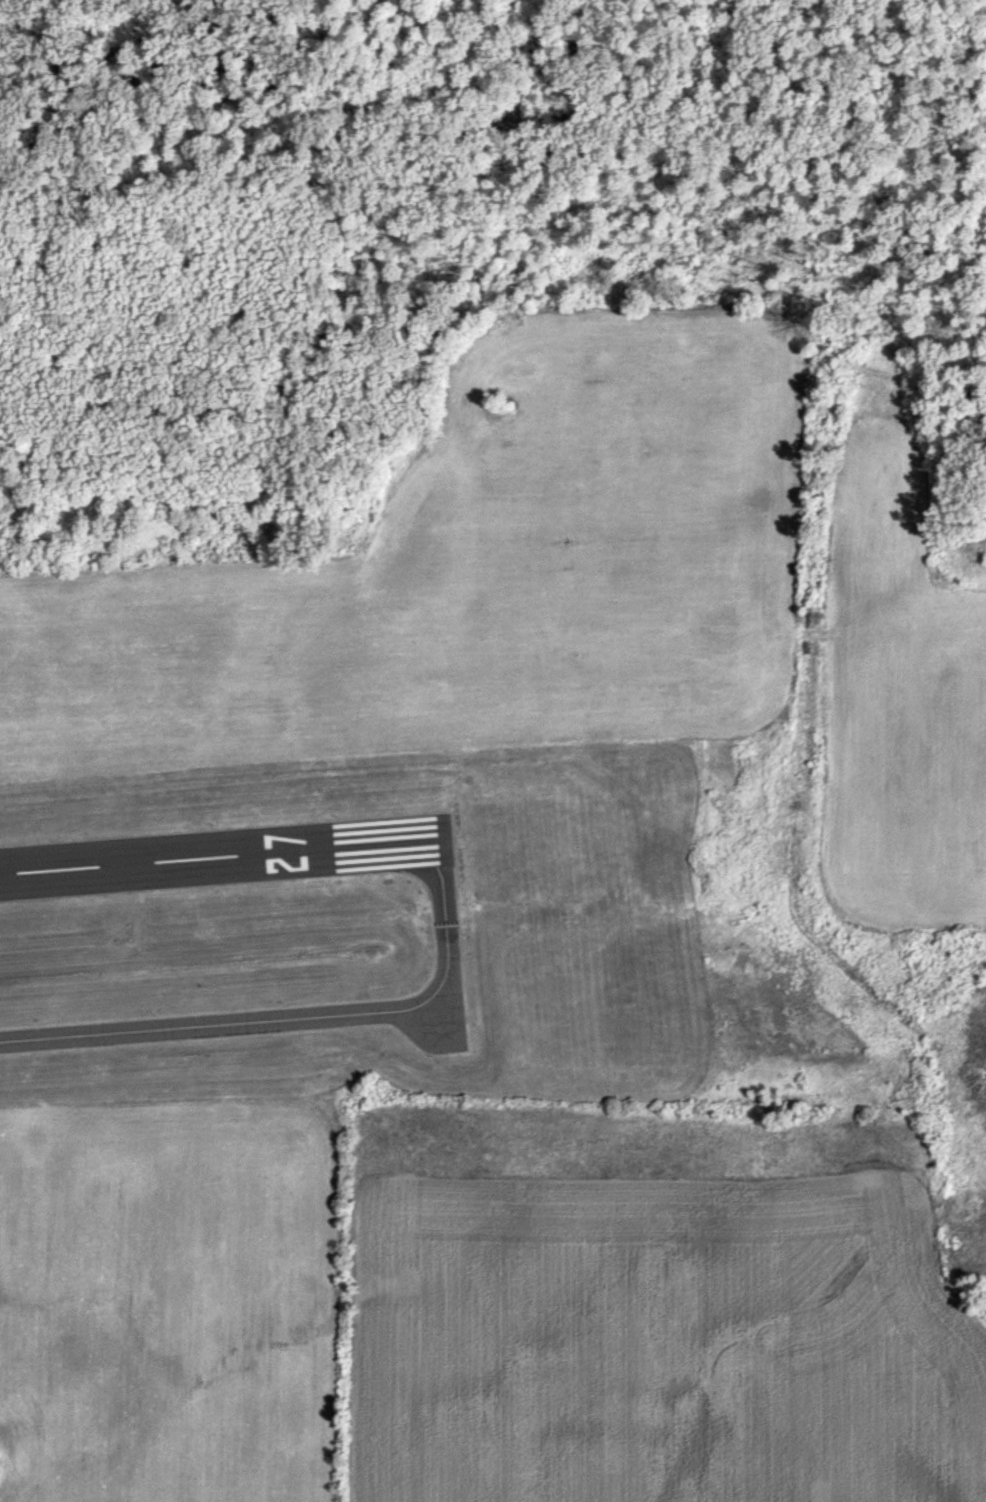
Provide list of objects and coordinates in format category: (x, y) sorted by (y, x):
airport runway: (227, 848)
airport: (369, 928)
airport taxiway: (302, 1011)

